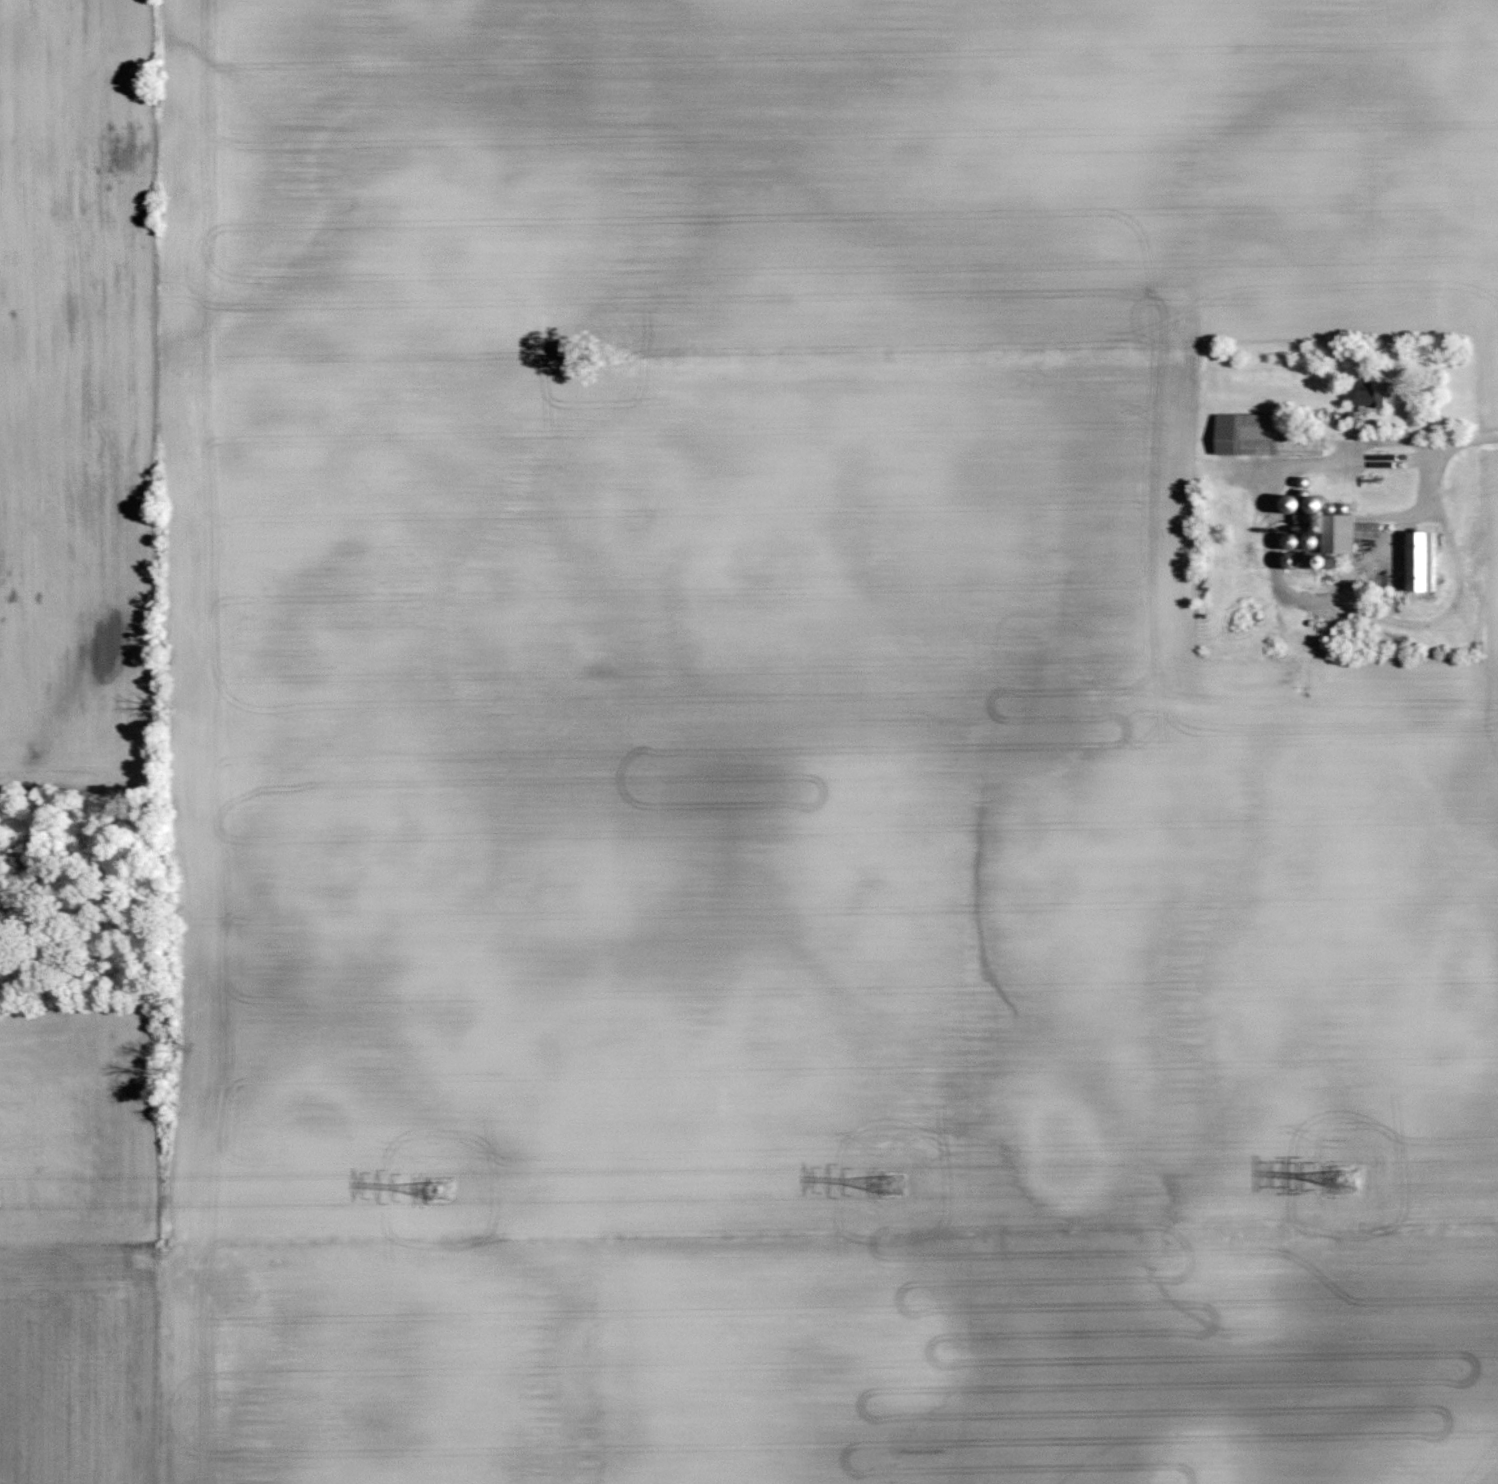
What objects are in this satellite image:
building: (1375, 395)
building: (1258, 437)
road: (1377, 458)
building: (1343, 534)
building: (1421, 561)
power tower: (1344, 1181)
power tower: (891, 1187)
power tower: (440, 1191)

